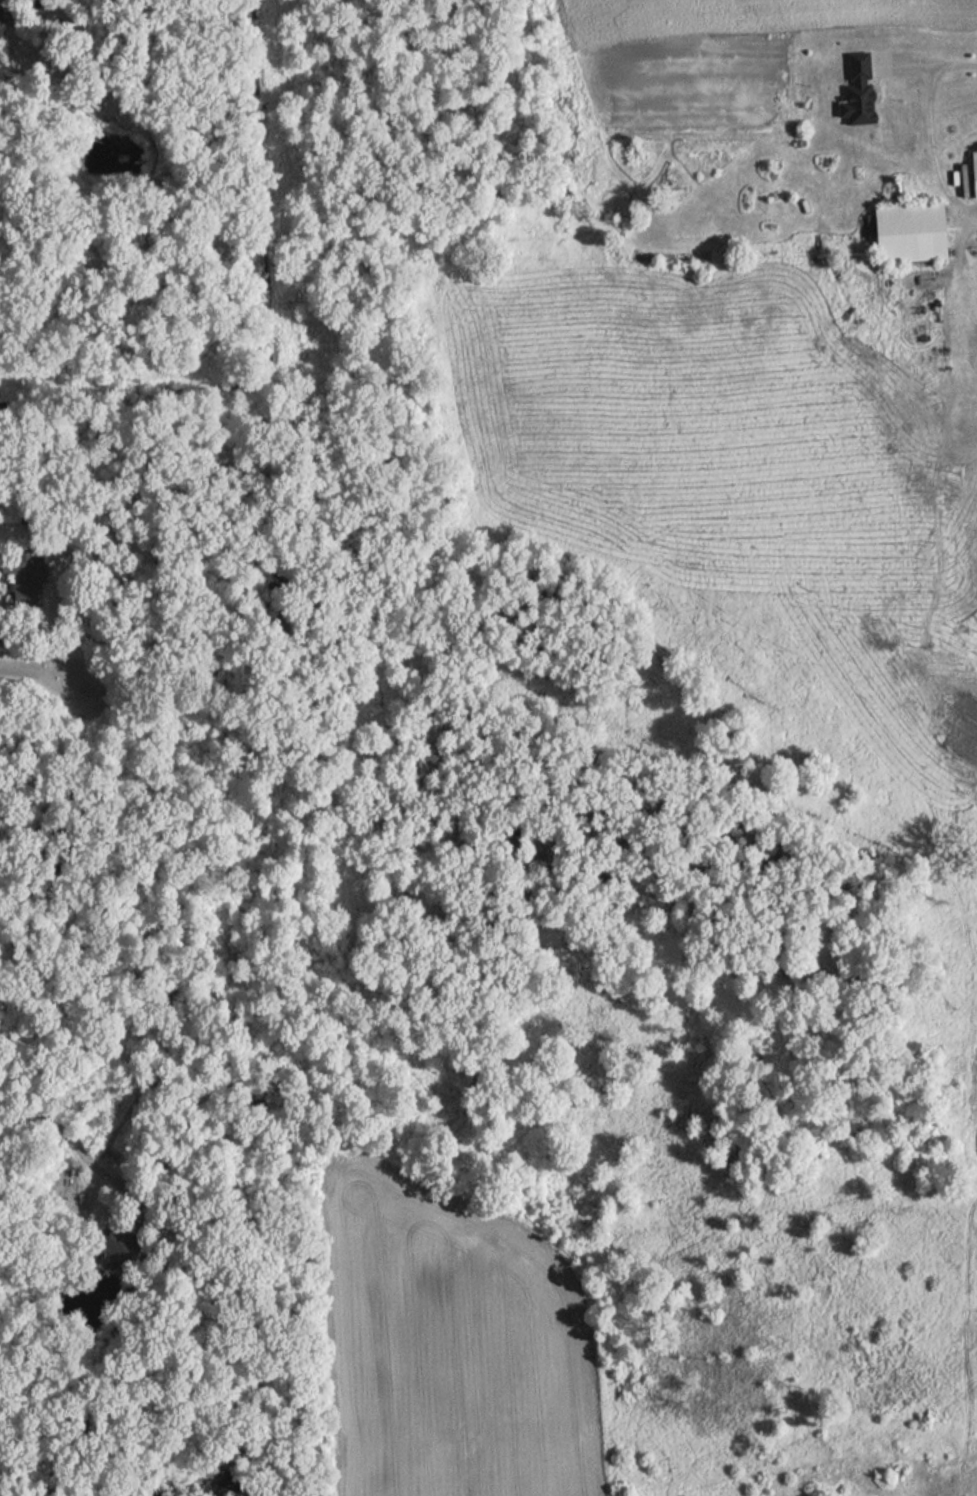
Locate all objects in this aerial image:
building: (854, 90)
road: (931, 131)
building: (972, 172)
building: (903, 232)
road: (60, 678)
road: (79, 1147)

